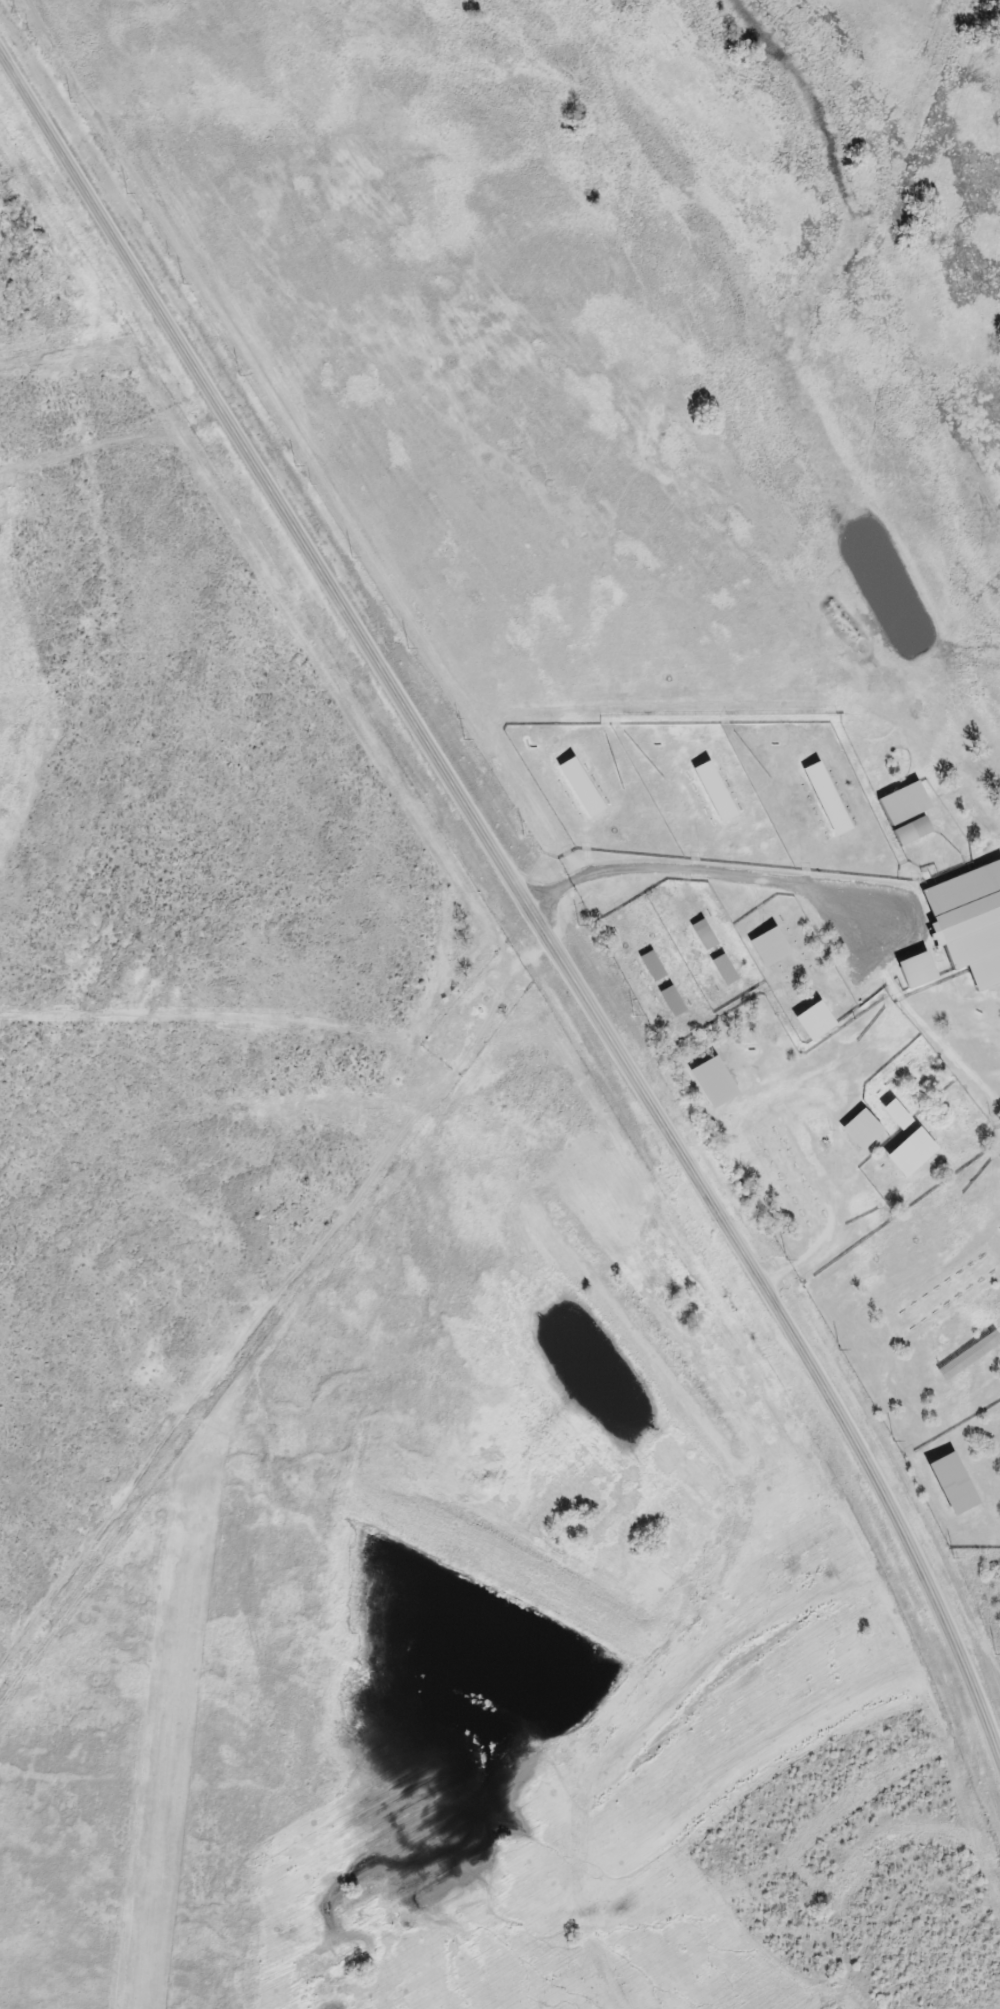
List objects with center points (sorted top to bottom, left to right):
building: (719, 805)
building: (910, 833)
road: (805, 891)
road: (521, 892)
building: (968, 924)
building: (702, 936)
building: (650, 968)
building: (722, 971)
building: (670, 1003)
building: (967, 1357)

